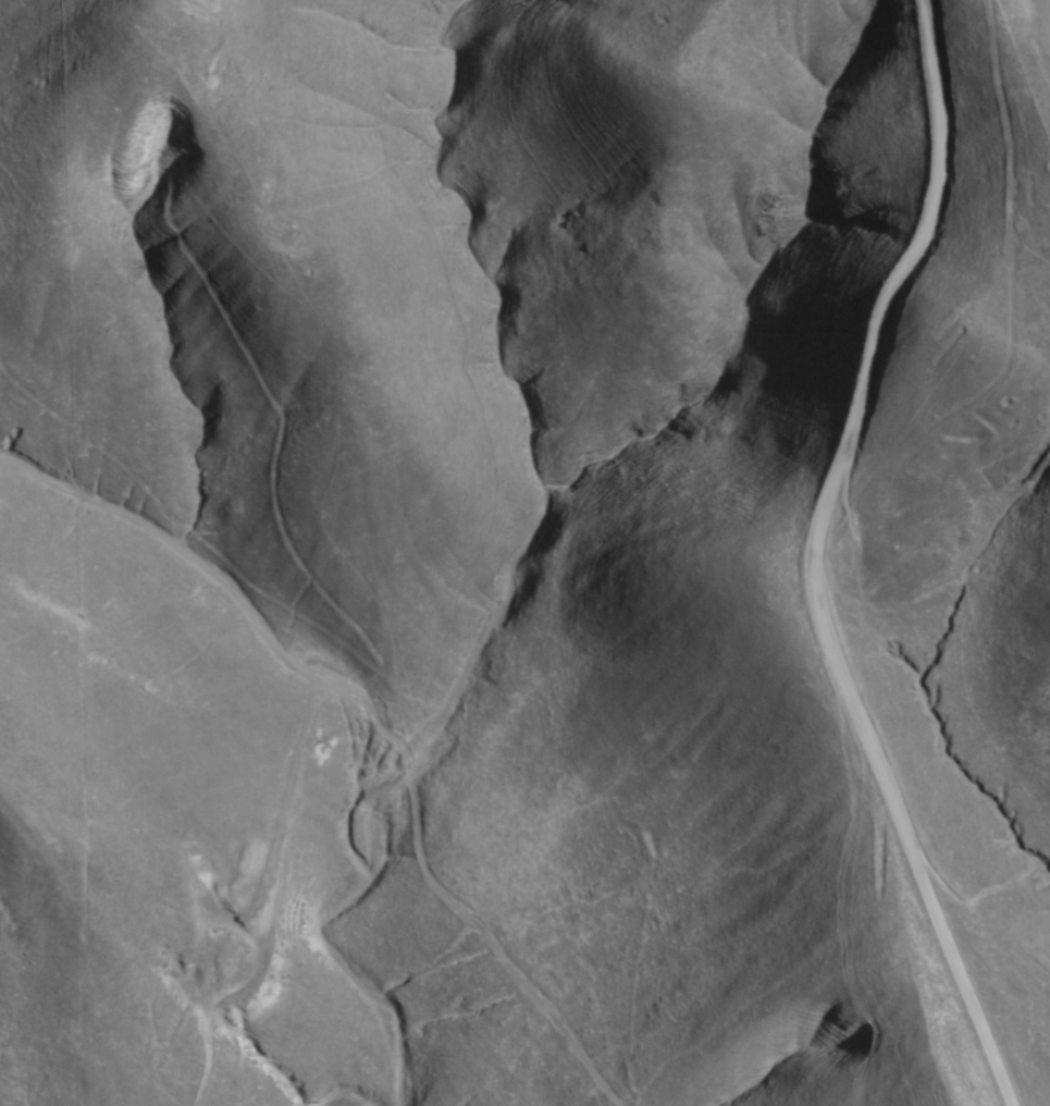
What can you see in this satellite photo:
road: (804, 556)
road: (972, 630)
road: (605, 1096)

